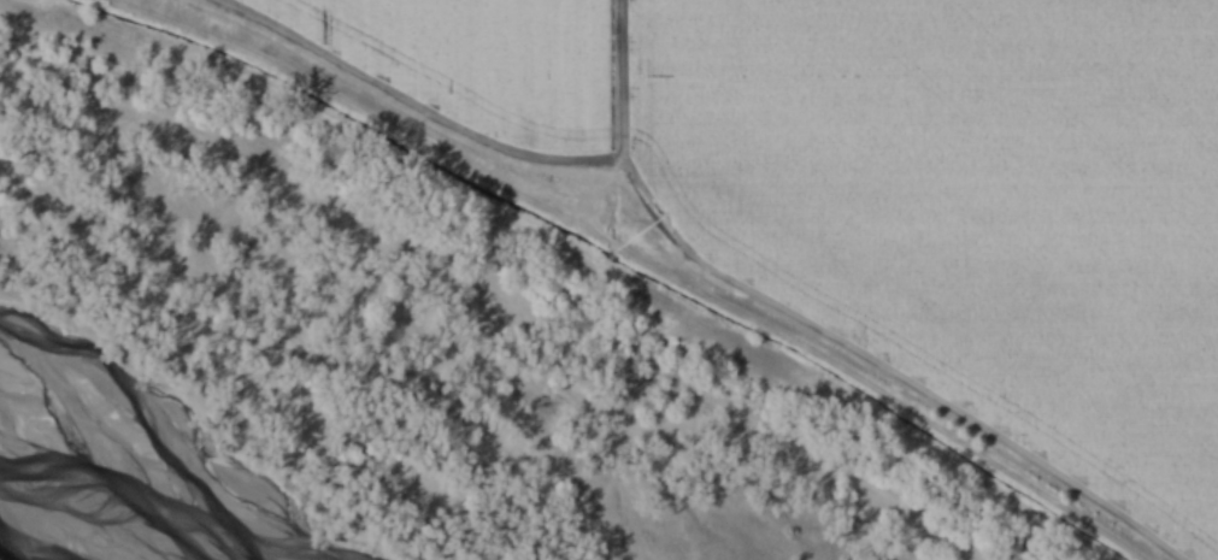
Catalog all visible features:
crop: (478, 58)
crop: (973, 201)
river: (45, 497)

